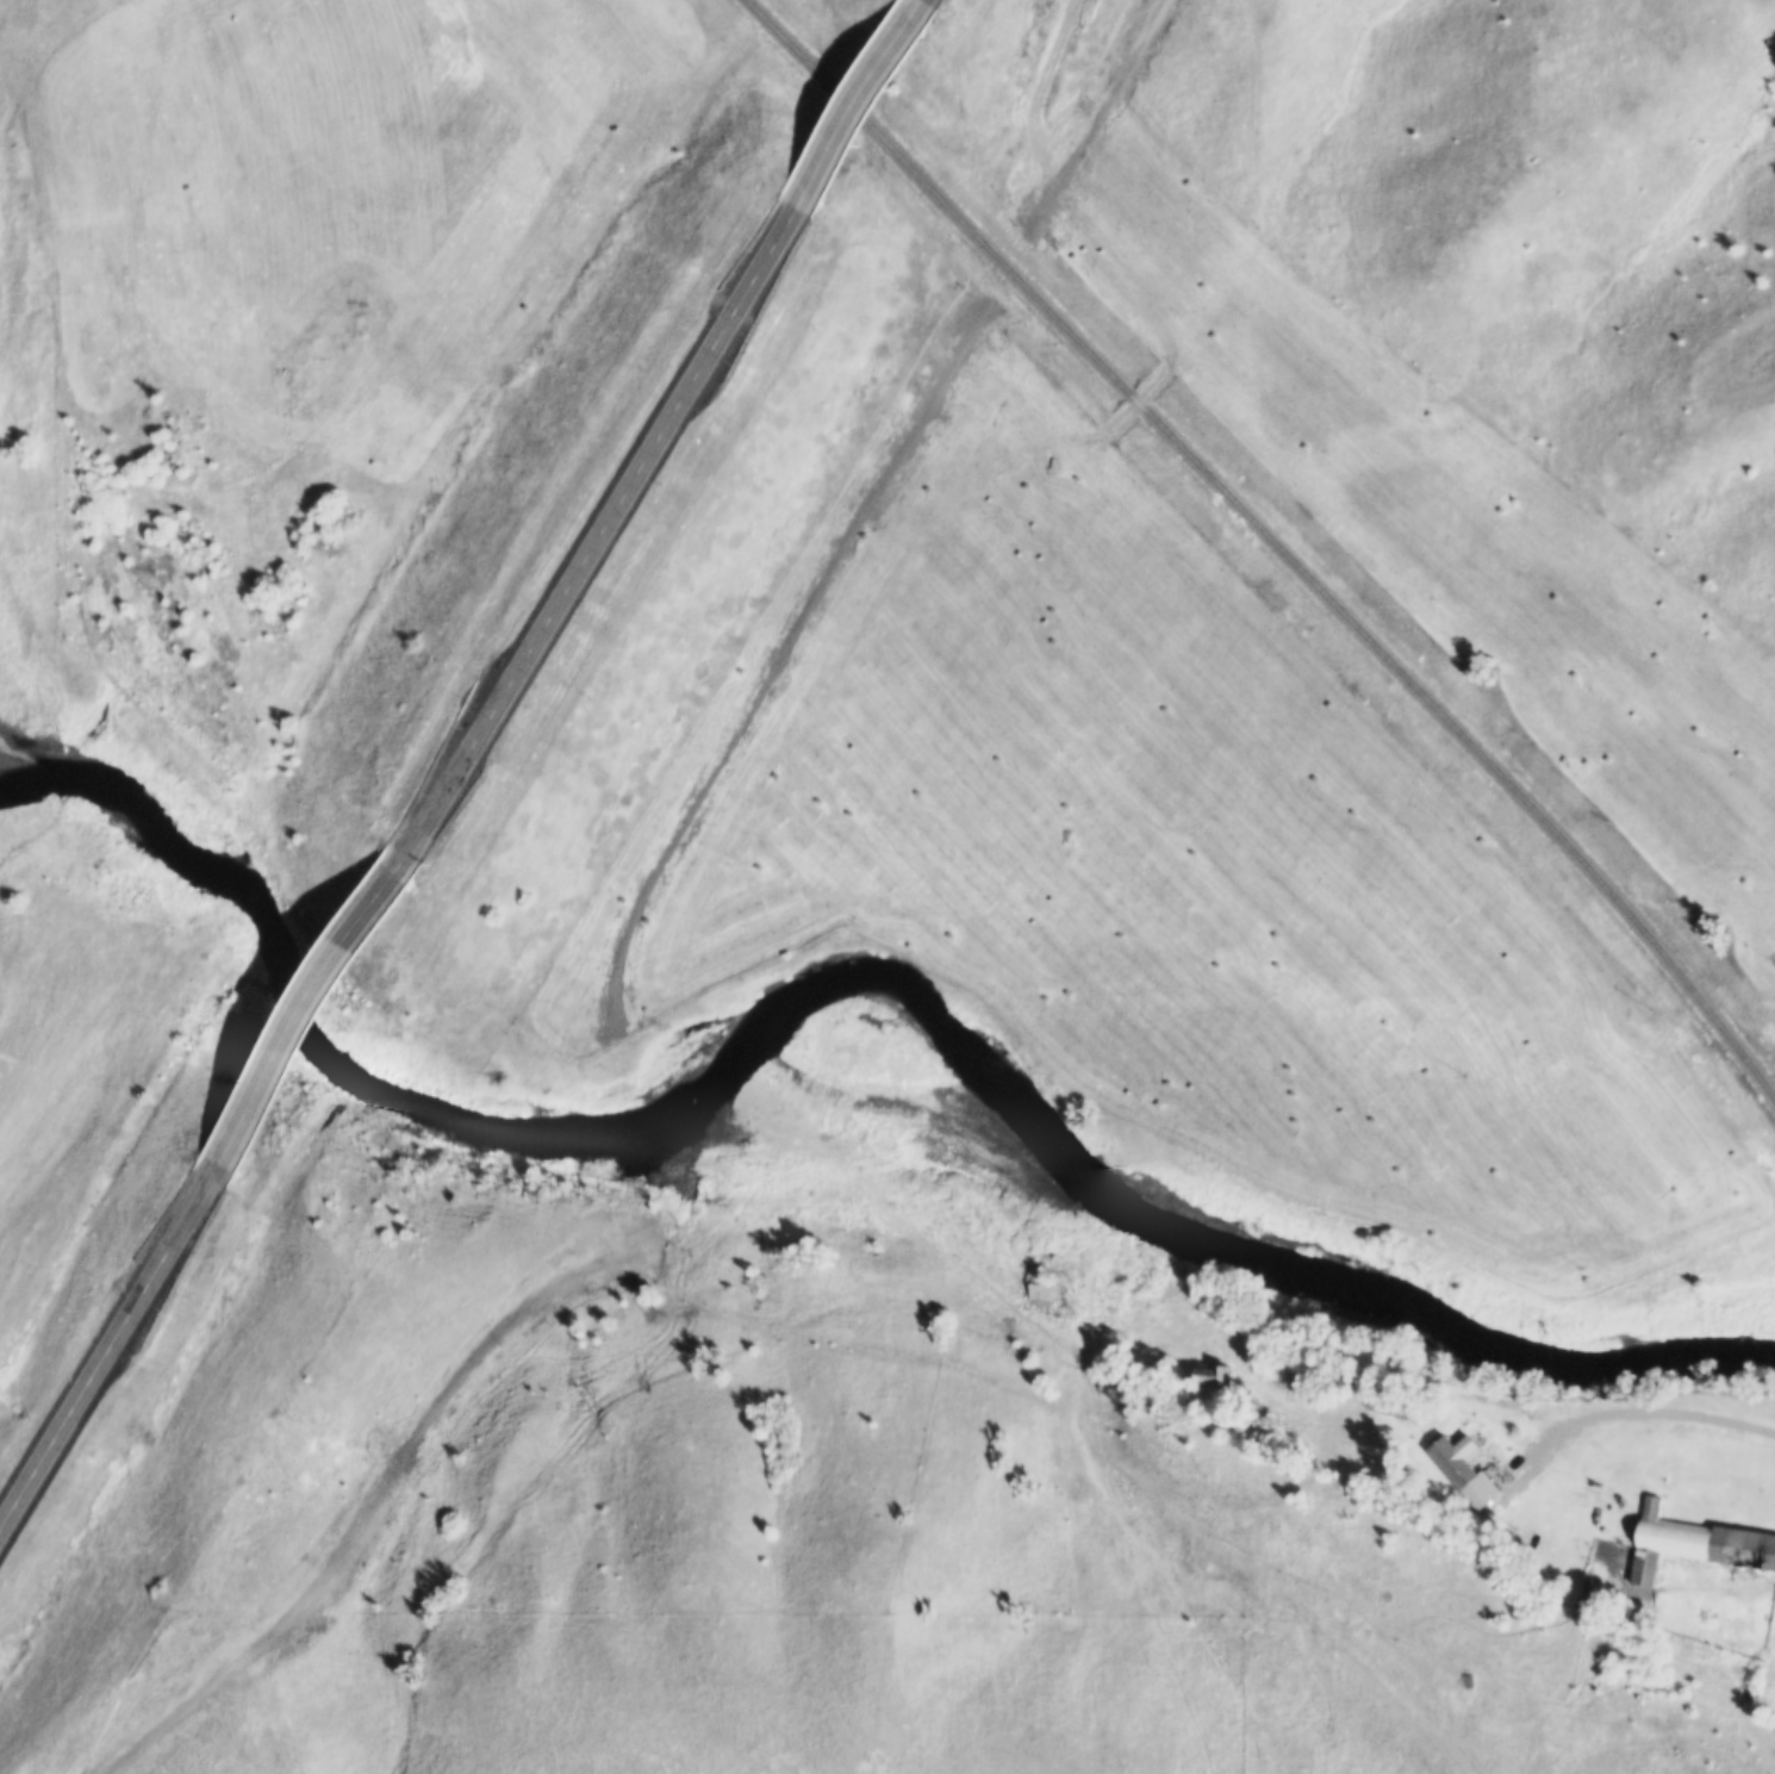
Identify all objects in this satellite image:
road: (864, 95)
road: (969, 166)
road: (615, 509)
railway: (1275, 537)
river: (835, 976)
road: (323, 991)
building: (1042, 1293)
road: (106, 1340)
building: (1209, 1375)
road: (1441, 1377)
building: (1394, 1408)
building: (1461, 1467)
building: (1696, 1543)

